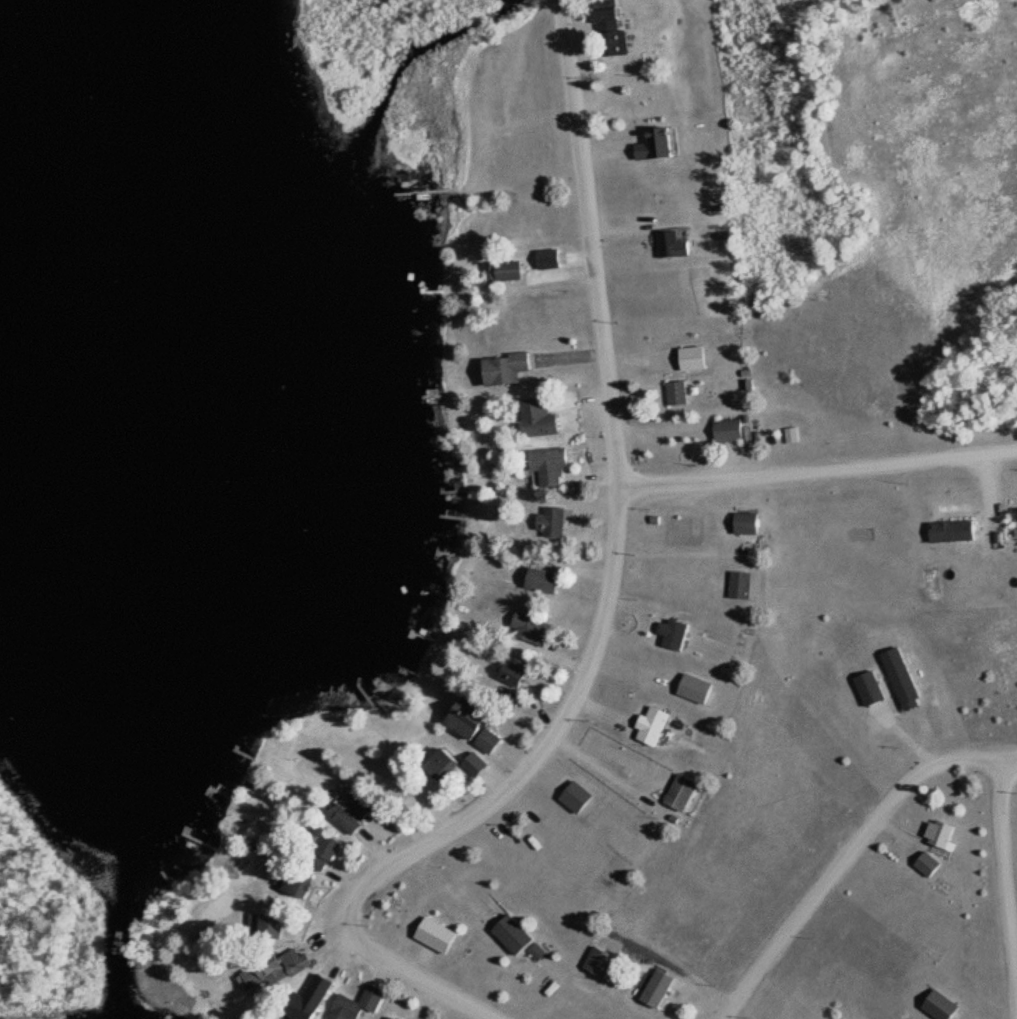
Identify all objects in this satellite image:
building: (616, 17)
building: (659, 143)
building: (686, 241)
building: (511, 268)
building: (509, 367)
building: (681, 390)
building: (539, 416)
building: (734, 428)
building: (552, 464)
road: (819, 468)
building: (557, 520)
building: (752, 522)
building: (957, 529)
building: (547, 579)
building: (745, 583)
road: (607, 599)
building: (677, 631)
building: (907, 681)
building: (657, 723)
building: (477, 724)
building: (447, 761)
building: (479, 763)
building: (685, 790)
building: (358, 814)
building: (944, 835)
road: (850, 853)
road: (1009, 860)
building: (303, 879)
building: (405, 916)
building: (523, 937)
river: (122, 948)
building: (303, 957)
building: (603, 959)
building: (662, 985)
building: (360, 1004)
building: (395, 1016)

